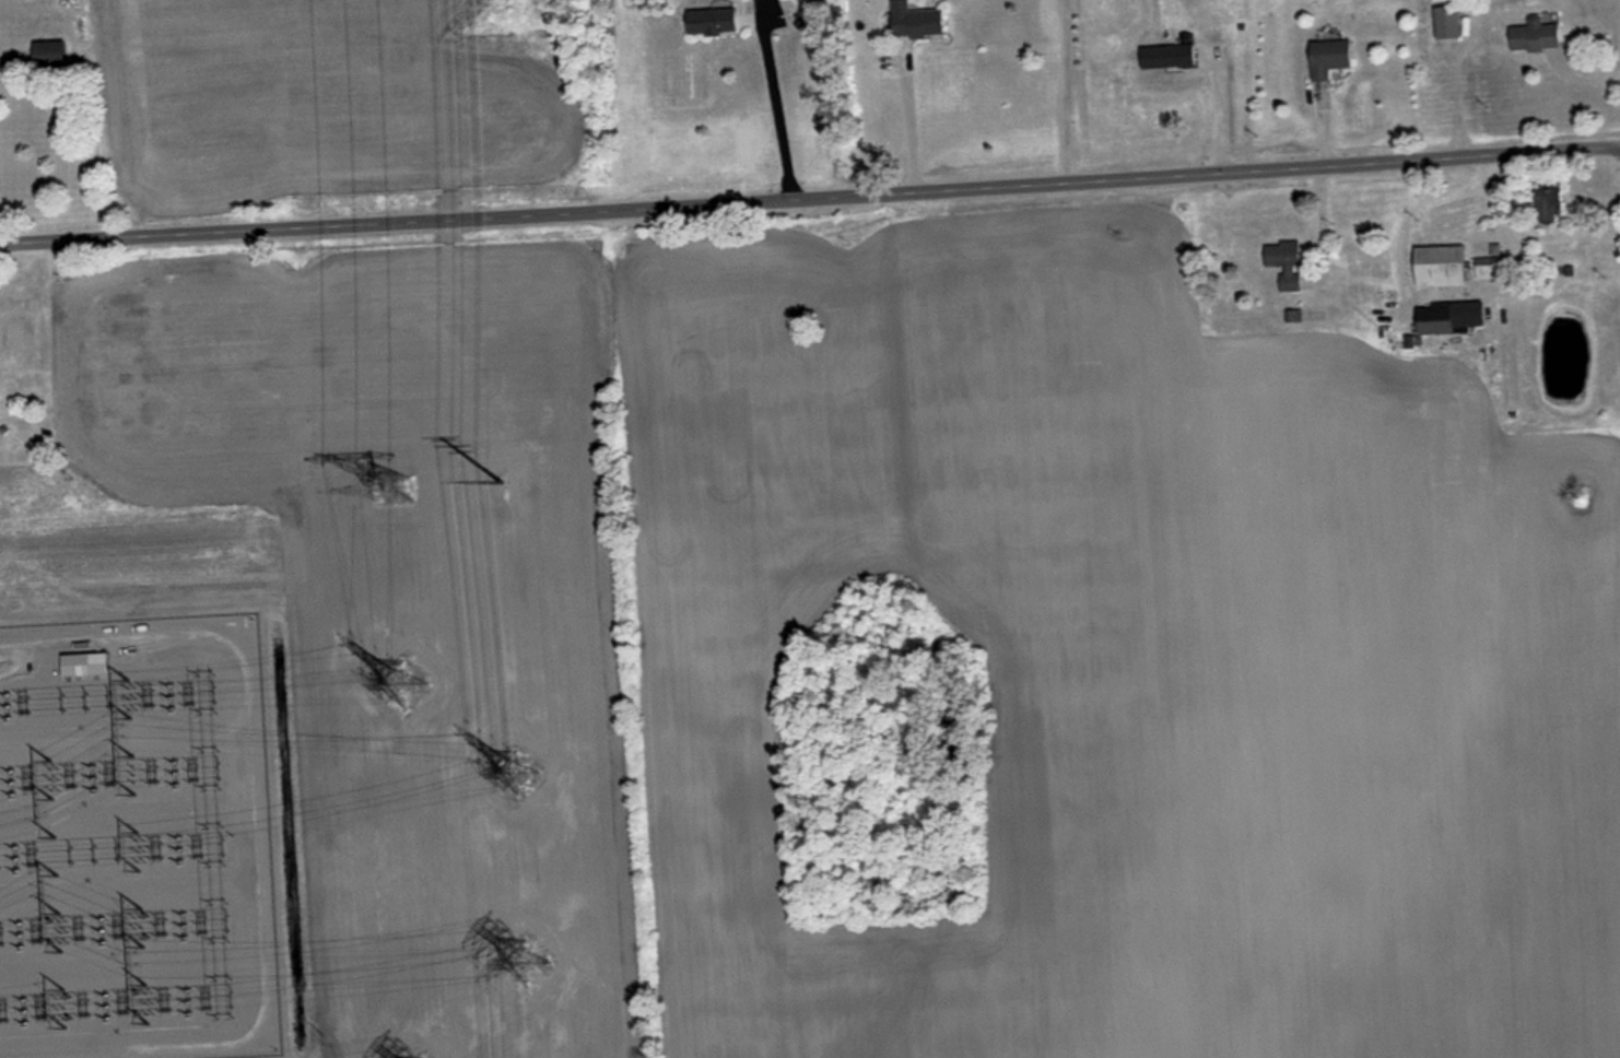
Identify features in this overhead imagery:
building: (711, 21)
building: (1444, 22)
building: (916, 23)
building: (1534, 36)
building: (48, 54)
building: (1166, 56)
building: (1327, 58)
road: (1066, 87)
road: (777, 107)
road: (912, 124)
road: (809, 188)
building: (1546, 203)
road: (1418, 204)
road: (1530, 242)
building: (1284, 262)
building: (1494, 264)
building: (1437, 266)
building: (1448, 317)
power tower: (384, 492)
power tower: (502, 492)
building: (84, 663)
power tower: (400, 683)
power tower: (526, 776)
road: (257, 823)
power substation: (138, 842)
power tower: (528, 962)

